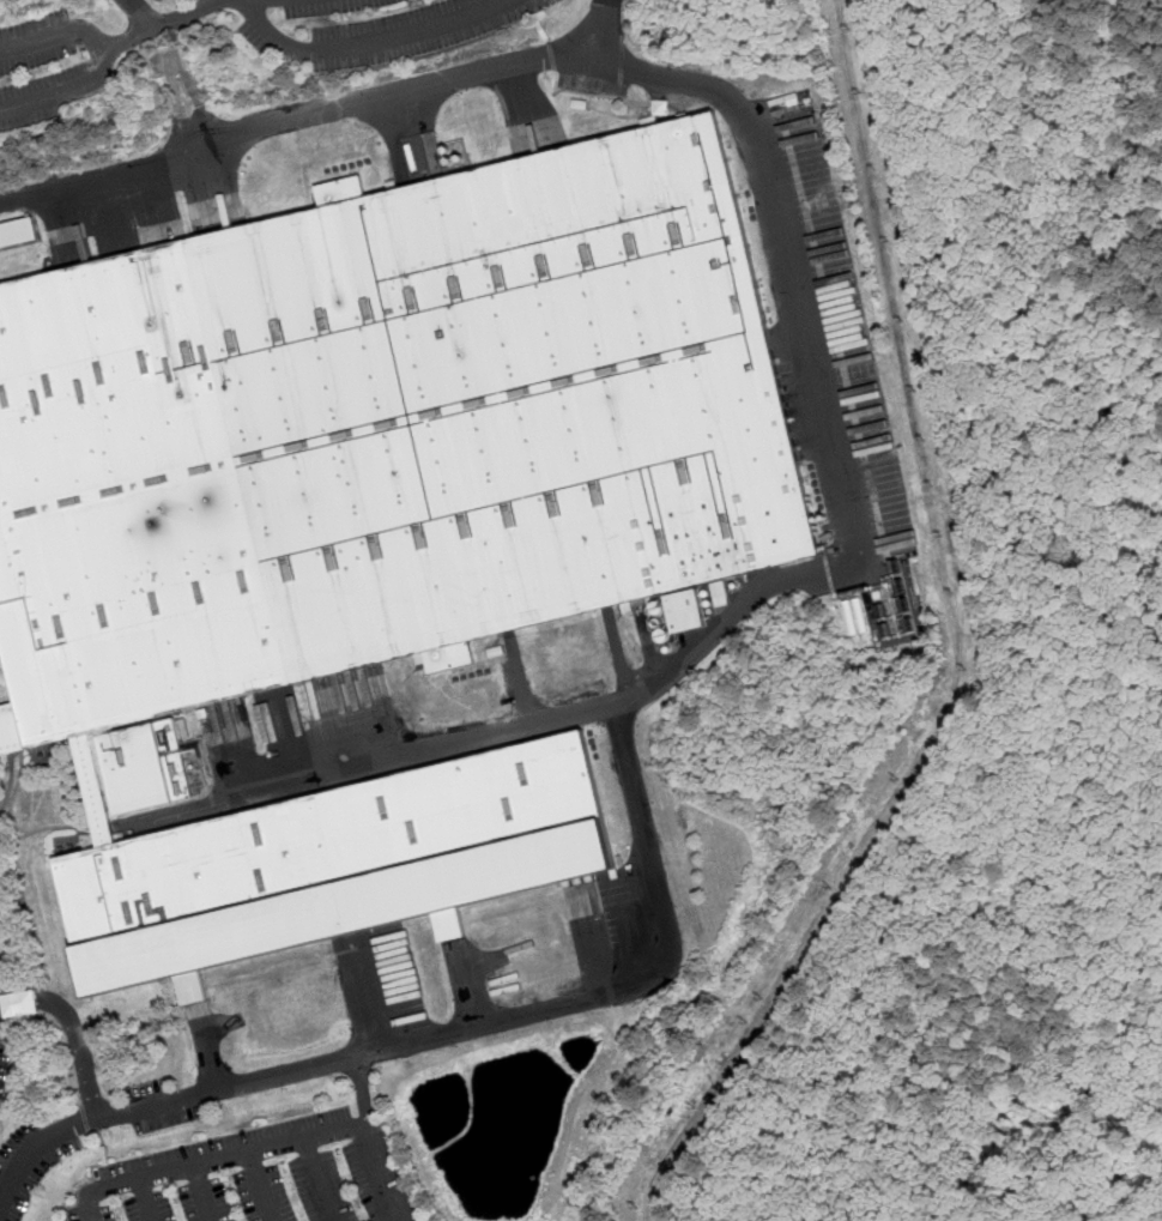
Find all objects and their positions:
road: (145, 13)
road: (163, 25)
road: (601, 30)
road: (364, 42)
road: (105, 59)
building: (579, 104)
building: (804, 153)
building: (17, 231)
road: (809, 336)
building: (374, 512)
building: (721, 594)
building: (685, 611)
building: (497, 652)
road: (622, 655)
road: (521, 683)
road: (288, 739)
building: (144, 767)
road: (595, 944)
road: (471, 985)
road: (368, 996)
building: (13, 1020)
road: (74, 1030)
road: (450, 1033)
road: (207, 1050)
road: (365, 1092)
road: (261, 1148)
road: (317, 1180)
road: (260, 1186)
road: (204, 1192)
road: (145, 1199)

